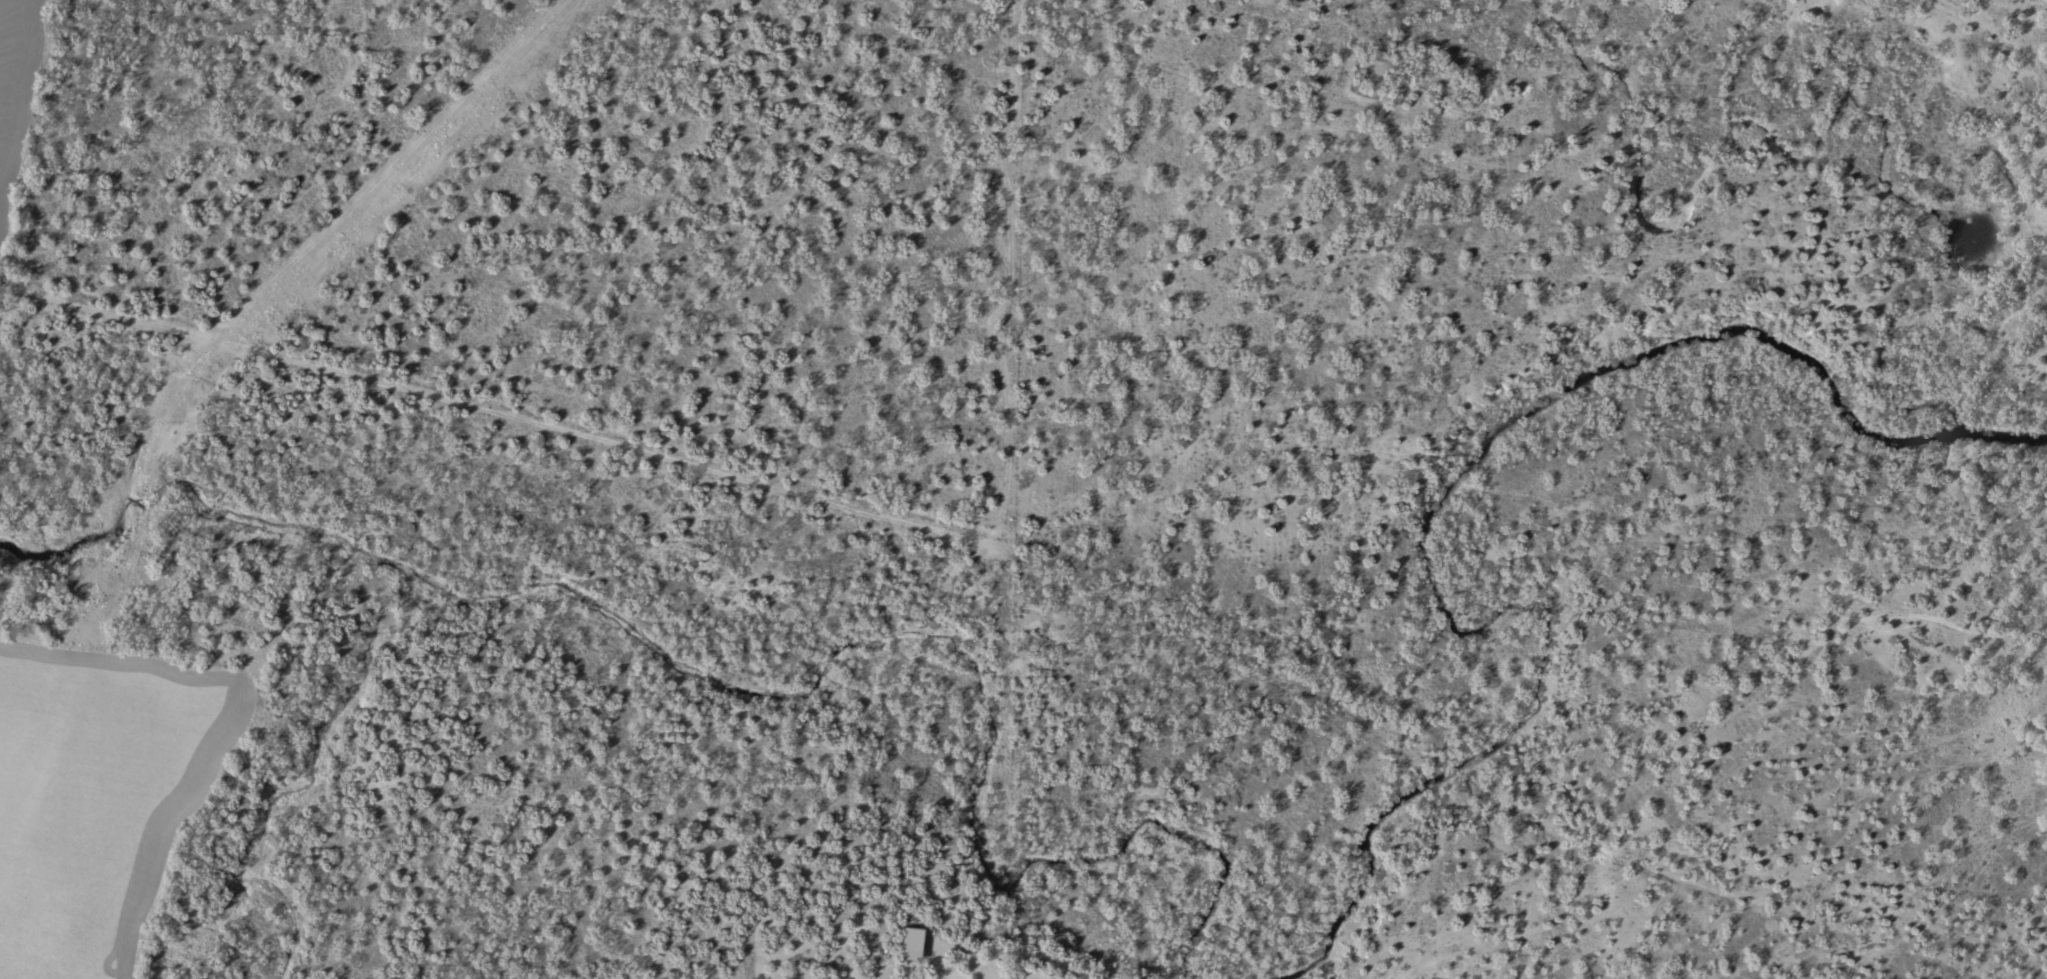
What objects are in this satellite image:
building: (914, 942)

